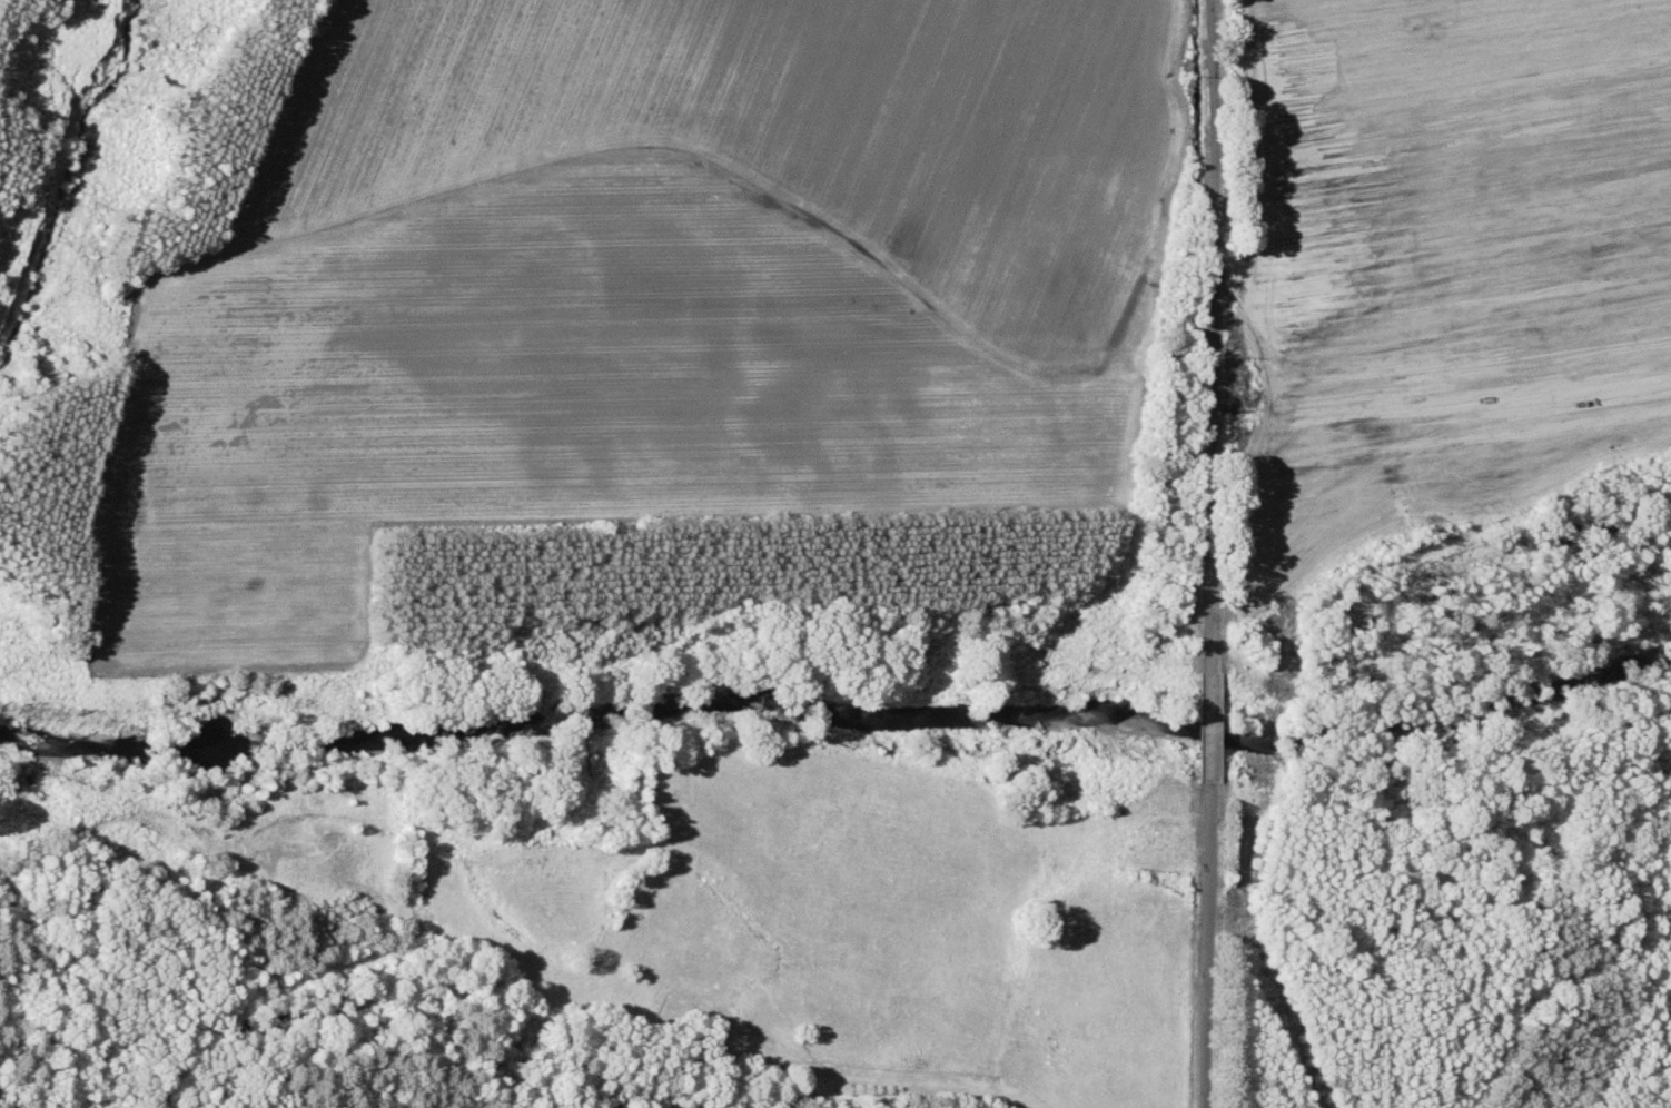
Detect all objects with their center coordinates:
road: (1213, 554)
road: (896, 1096)

